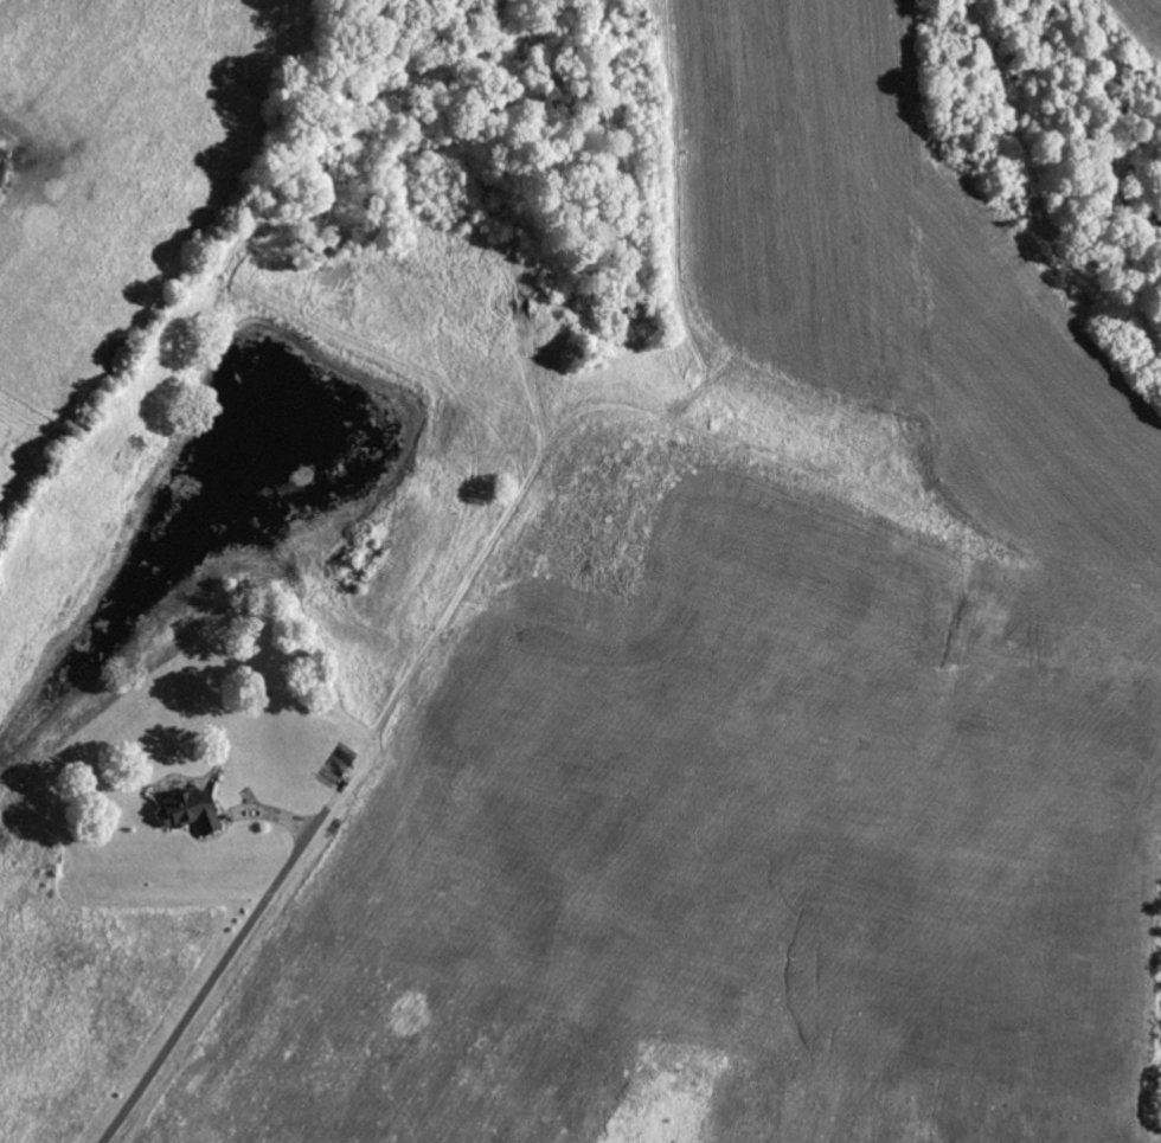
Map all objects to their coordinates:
road: (359, 875)

